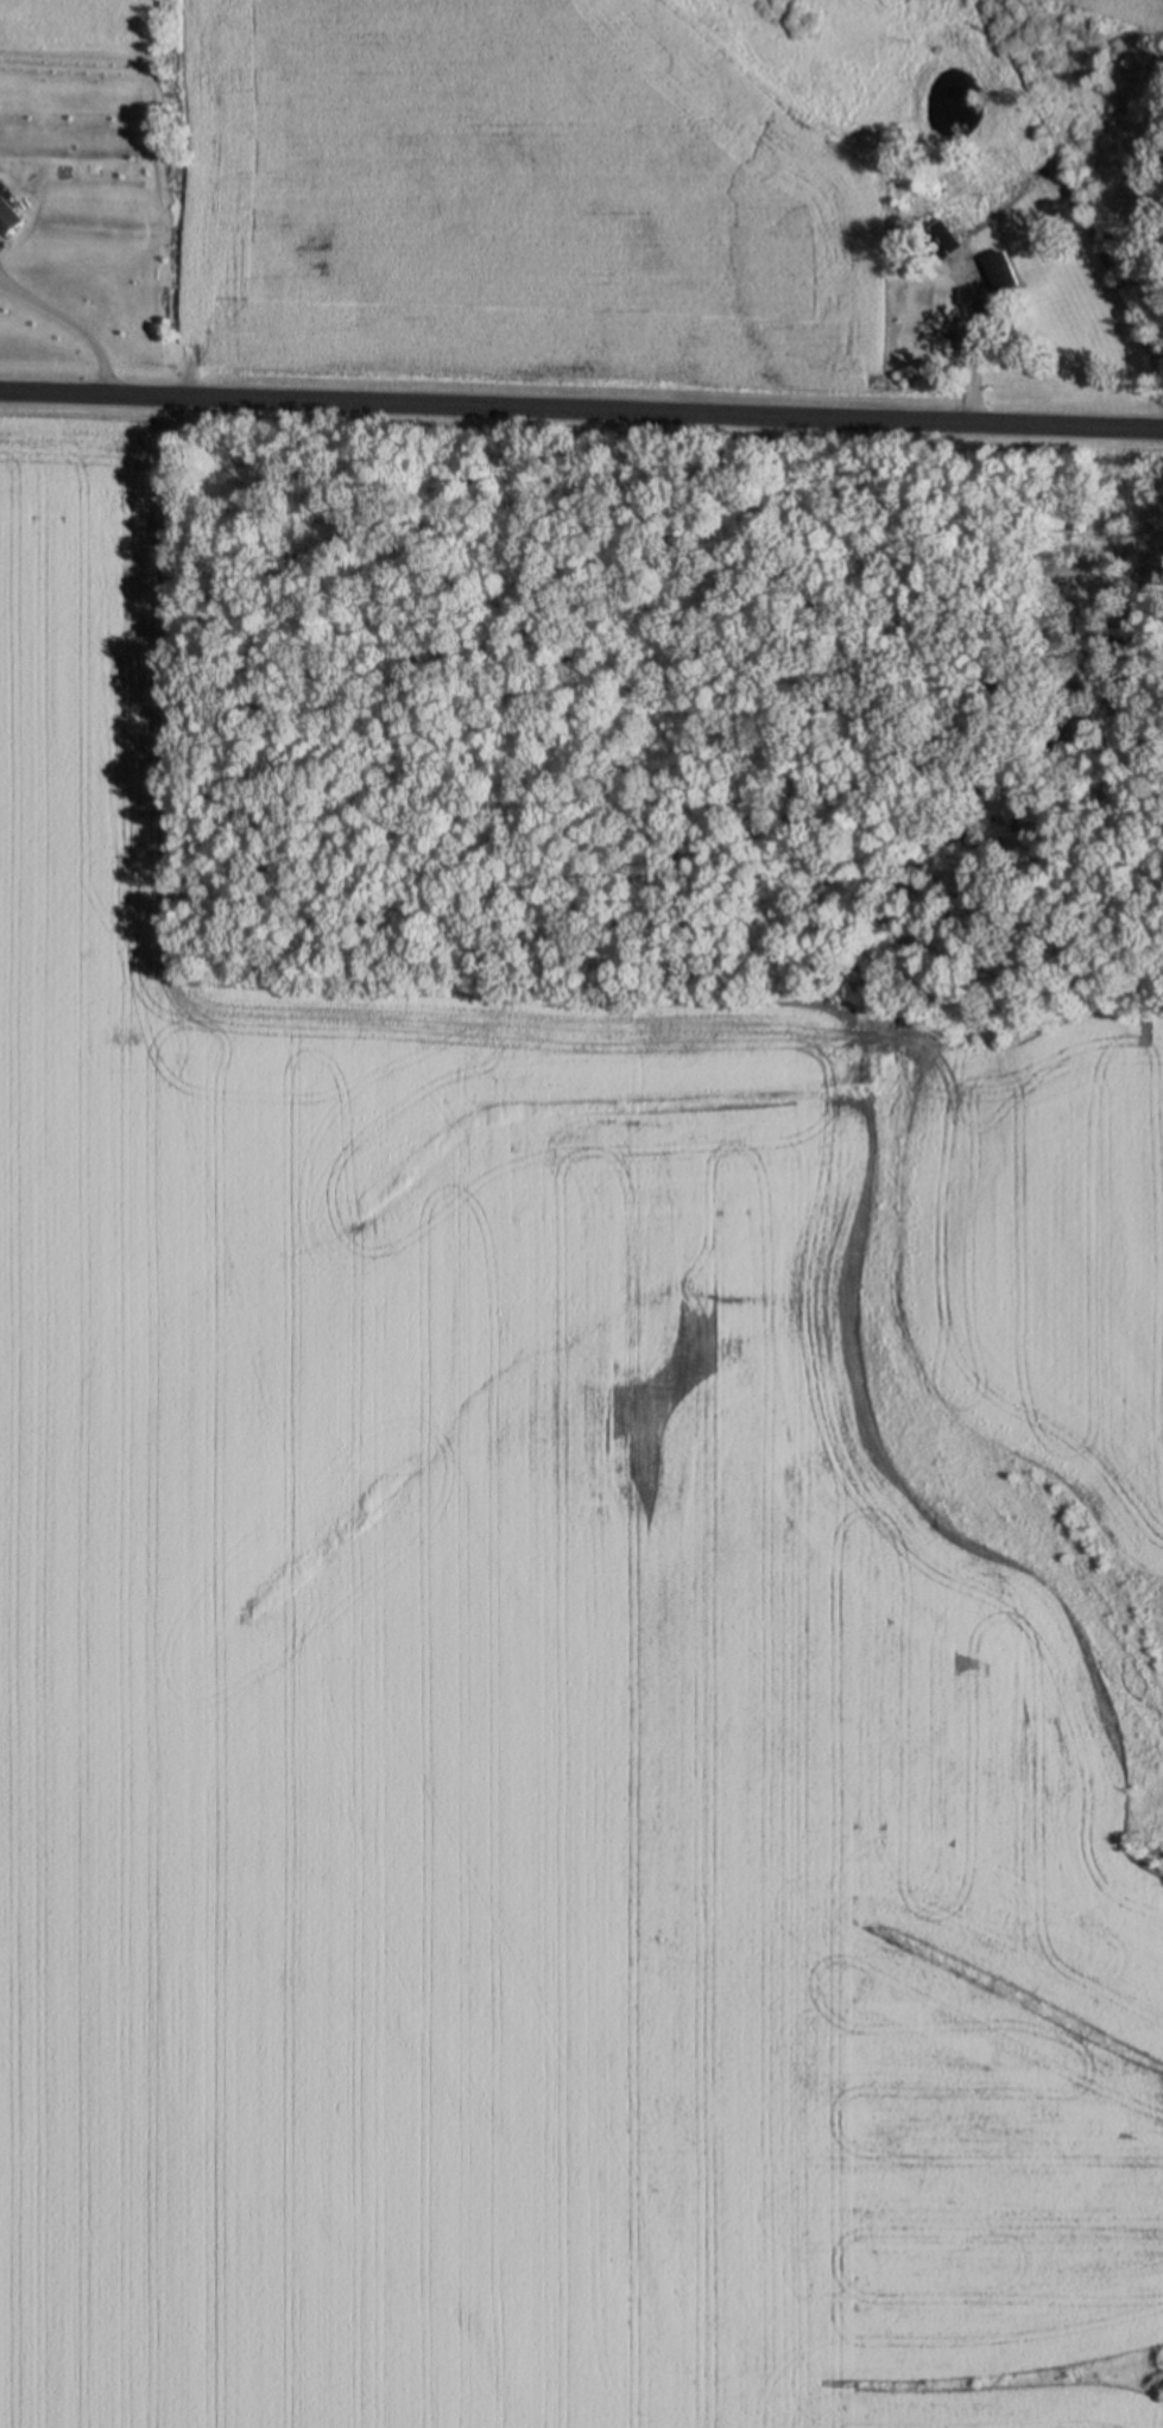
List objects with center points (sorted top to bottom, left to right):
building: (7, 219)
building: (942, 241)
building: (1000, 273)
road: (581, 424)

